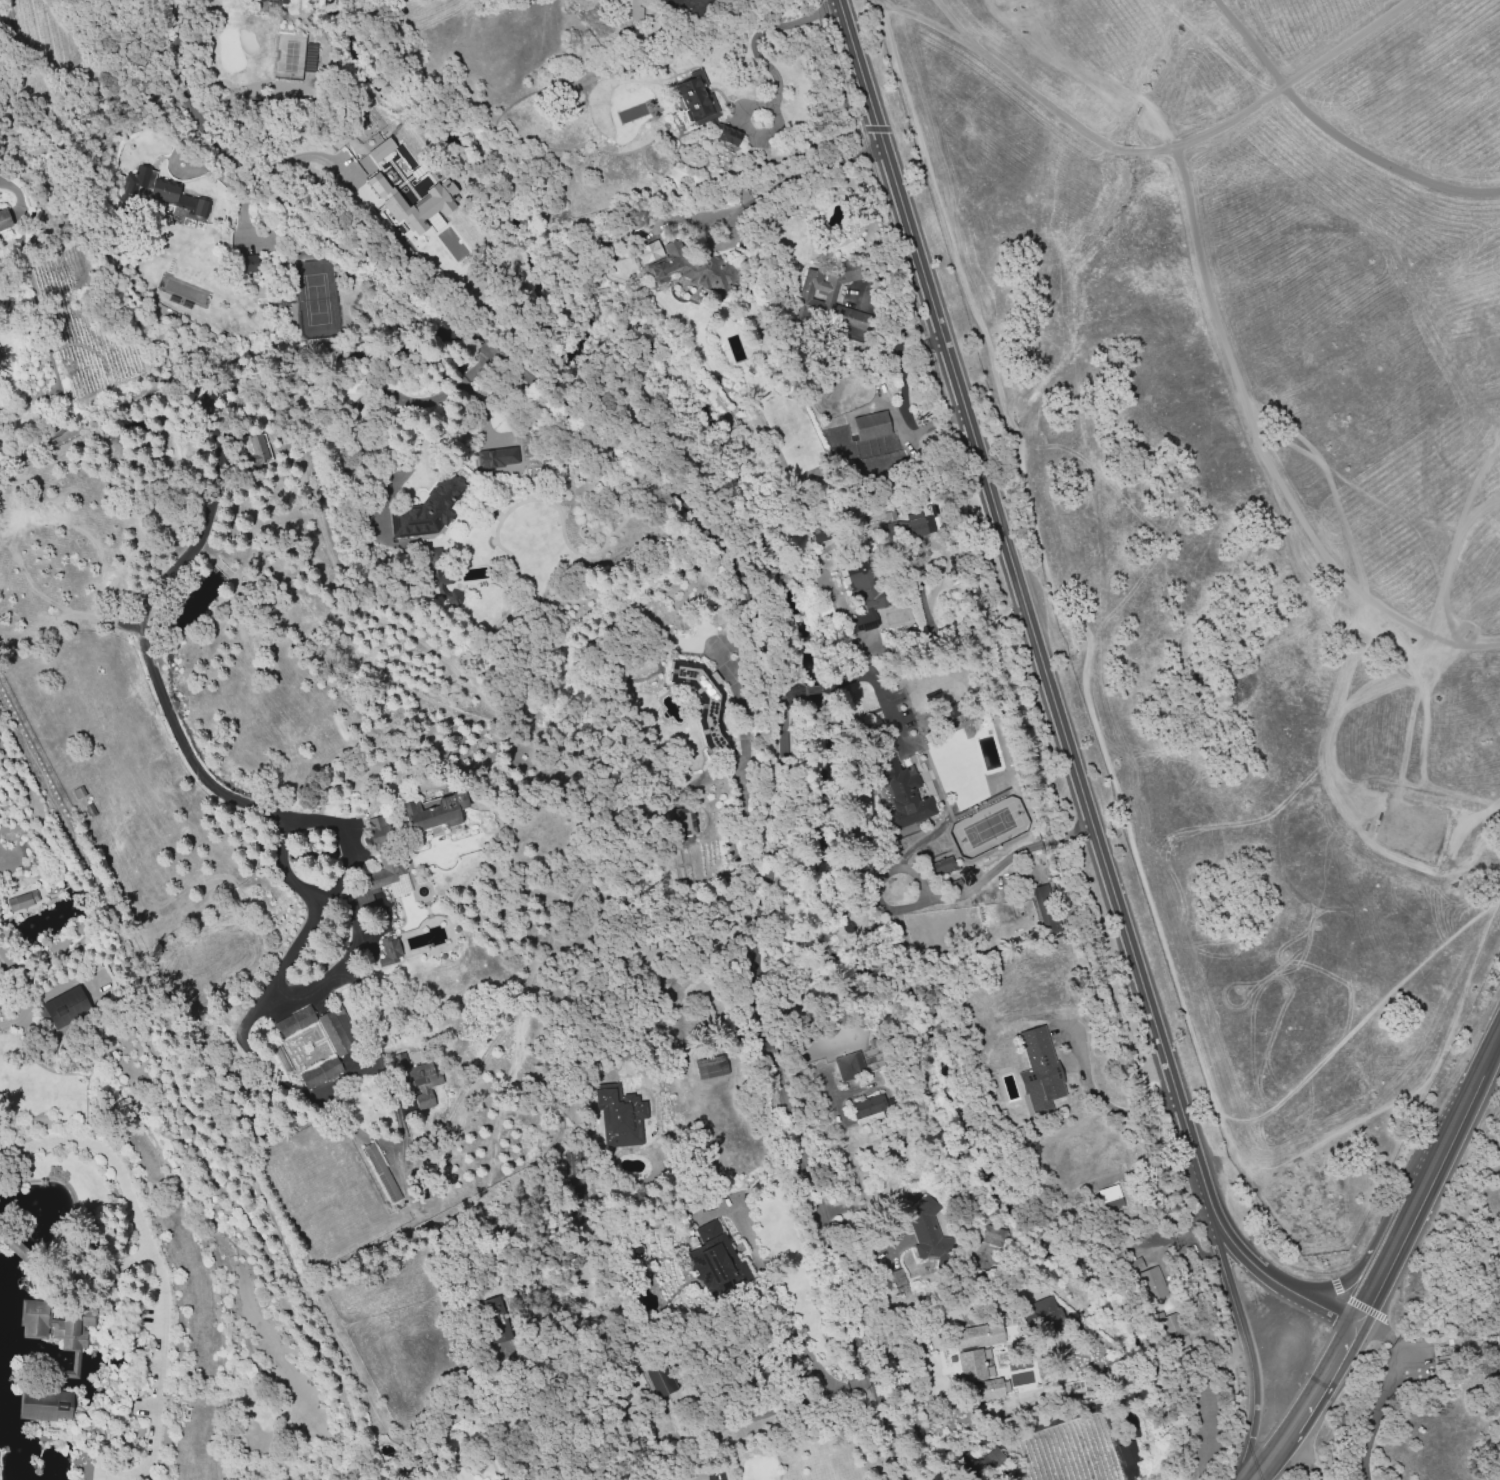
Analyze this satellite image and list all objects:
building: (270, 3)
building: (633, 9)
road: (936, 30)
road: (967, 30)
building: (310, 58)
road: (771, 72)
building: (698, 103)
road: (1204, 136)
building: (729, 141)
building: (380, 149)
road: (306, 156)
building: (373, 183)
building: (743, 195)
road: (756, 196)
building: (186, 202)
building: (422, 205)
building: (5, 218)
building: (250, 265)
building: (695, 269)
building: (848, 271)
building: (811, 288)
building: (97, 333)
road: (895, 339)
building: (105, 344)
road: (390, 395)
building: (872, 426)
building: (258, 447)
building: (499, 458)
building: (428, 509)
building: (889, 518)
building: (916, 527)
building: (822, 533)
road: (189, 554)
building: (439, 575)
building: (865, 589)
road: (1026, 617)
road: (757, 624)
road: (816, 688)
road: (790, 691)
road: (880, 692)
building: (712, 710)
building: (950, 710)
building: (905, 792)
building: (441, 811)
building: (689, 823)
road: (736, 825)
building: (389, 861)
building: (943, 865)
road: (944, 899)
building: (22, 902)
road: (313, 907)
building: (1046, 907)
building: (393, 950)
road: (693, 963)
building: (68, 1007)
building: (295, 1023)
building: (339, 1031)
building: (850, 1066)
building: (712, 1068)
building: (1041, 1069)
building: (321, 1072)
building: (429, 1077)
road: (1475, 1094)
road: (1105, 1102)
building: (431, 1103)
building: (869, 1107)
building: (623, 1117)
building: (384, 1173)
building: (1110, 1197)
road: (869, 1213)
building: (926, 1229)
road: (1403, 1234)
building: (992, 1236)
road: (1380, 1239)
building: (22, 1252)
road: (153, 1256)
building: (715, 1257)
road: (1251, 1263)
building: (1135, 1266)
building: (1149, 1286)
road: (1320, 1305)
building: (1043, 1314)
building: (89, 1323)
building: (1167, 1323)
road: (794, 1331)
building: (55, 1332)
building: (495, 1336)
building: (1450, 1350)
road: (1253, 1355)
building: (979, 1362)
road: (1328, 1369)
building: (660, 1376)
building: (1420, 1376)
building: (1011, 1388)
road: (1383, 1388)
building: (47, 1410)
road: (1276, 1448)
building: (1128, 1452)
road: (1307, 1454)
building: (992, 1458)
road: (1317, 1477)

